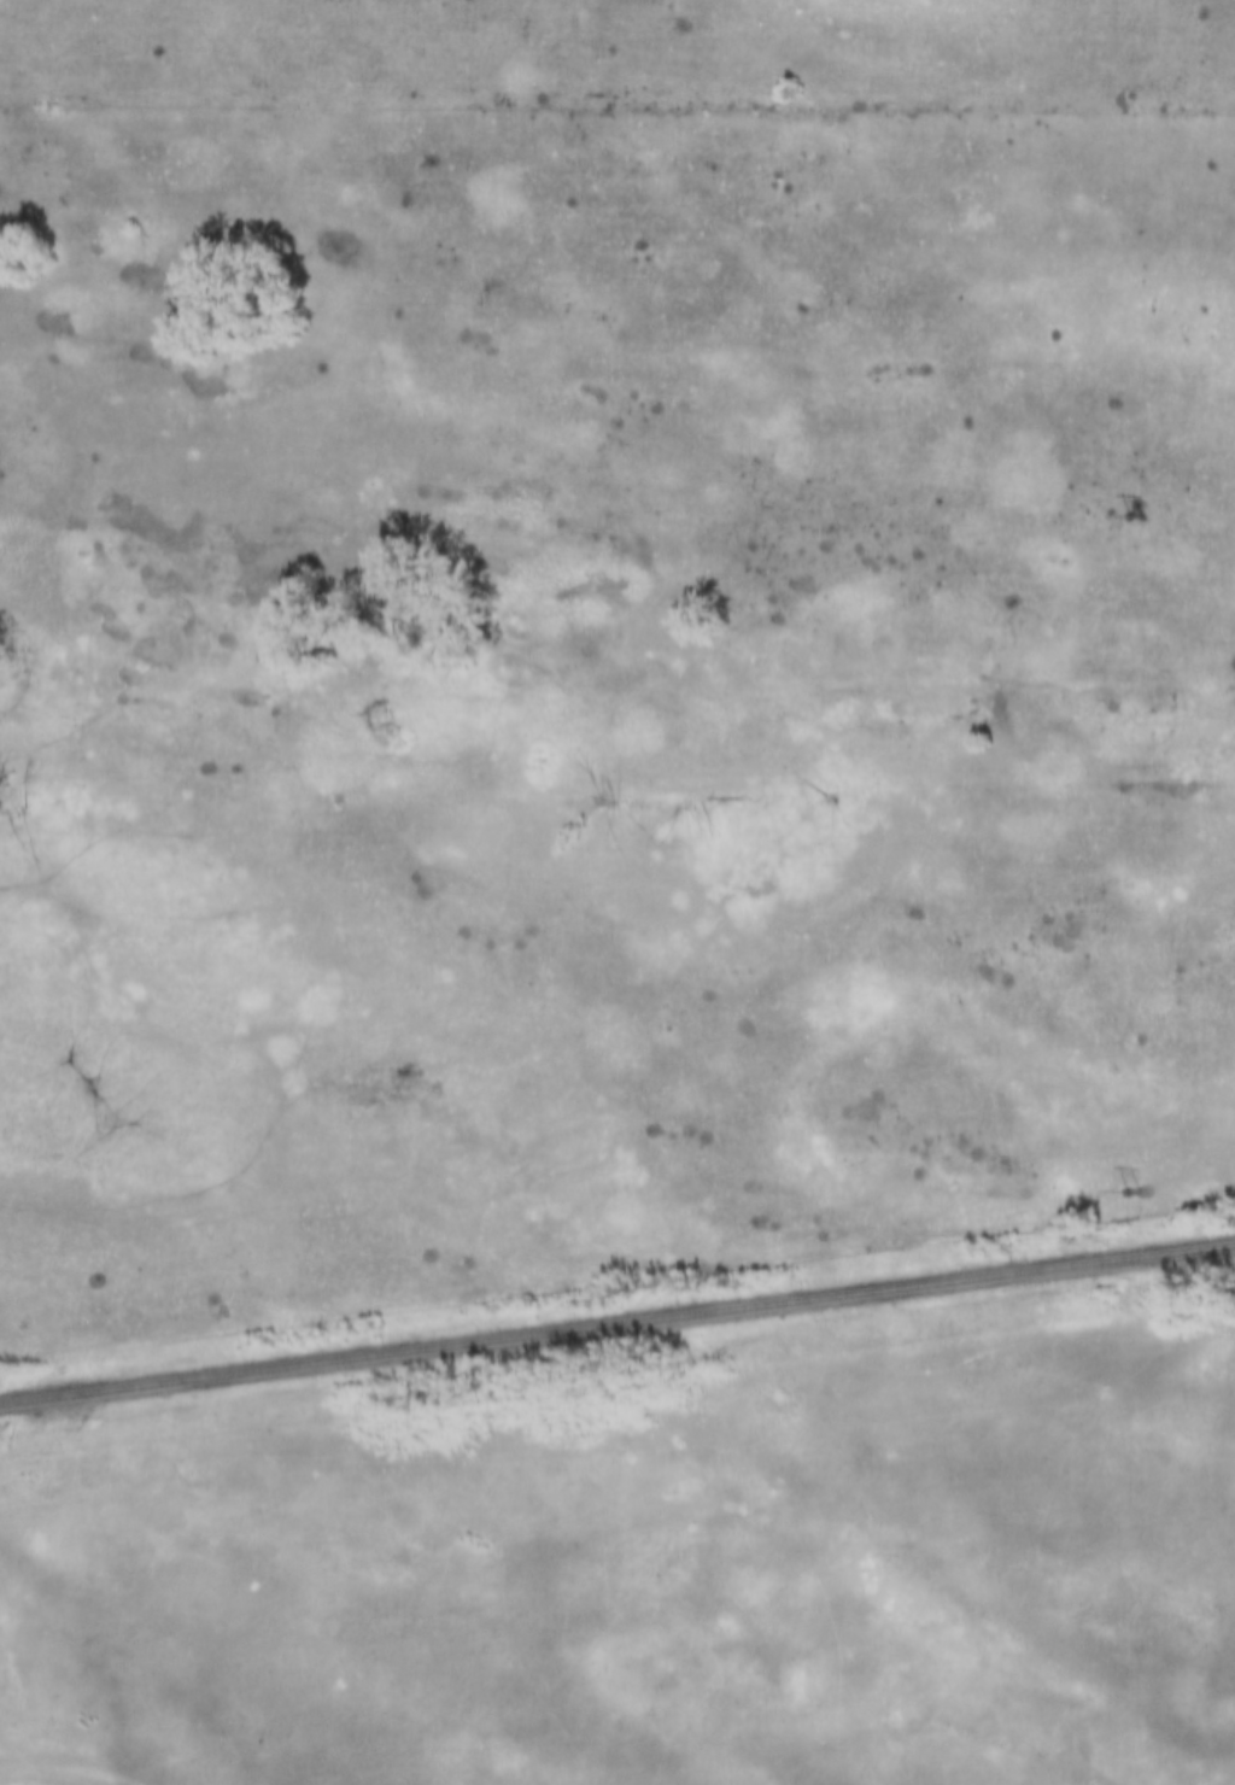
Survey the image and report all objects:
railway: (617, 1322)

